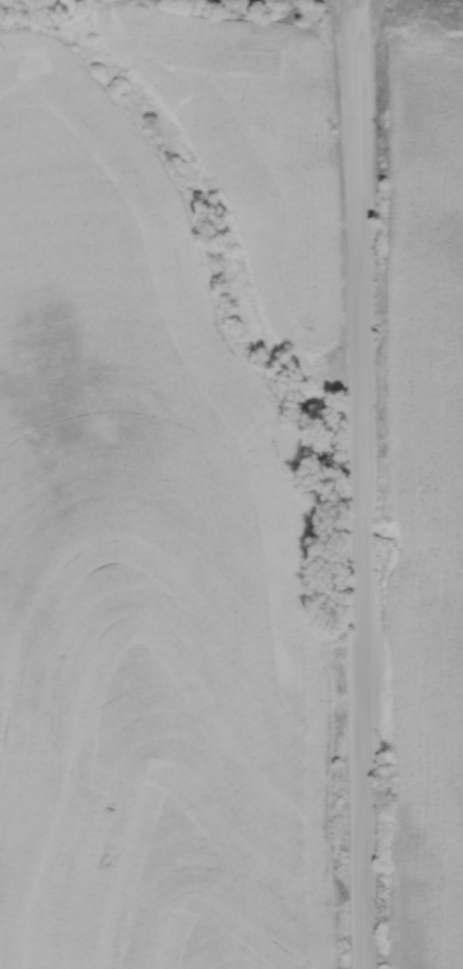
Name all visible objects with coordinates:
crop: (250, 143)
road: (359, 484)
crop: (425, 493)
crop: (145, 574)

